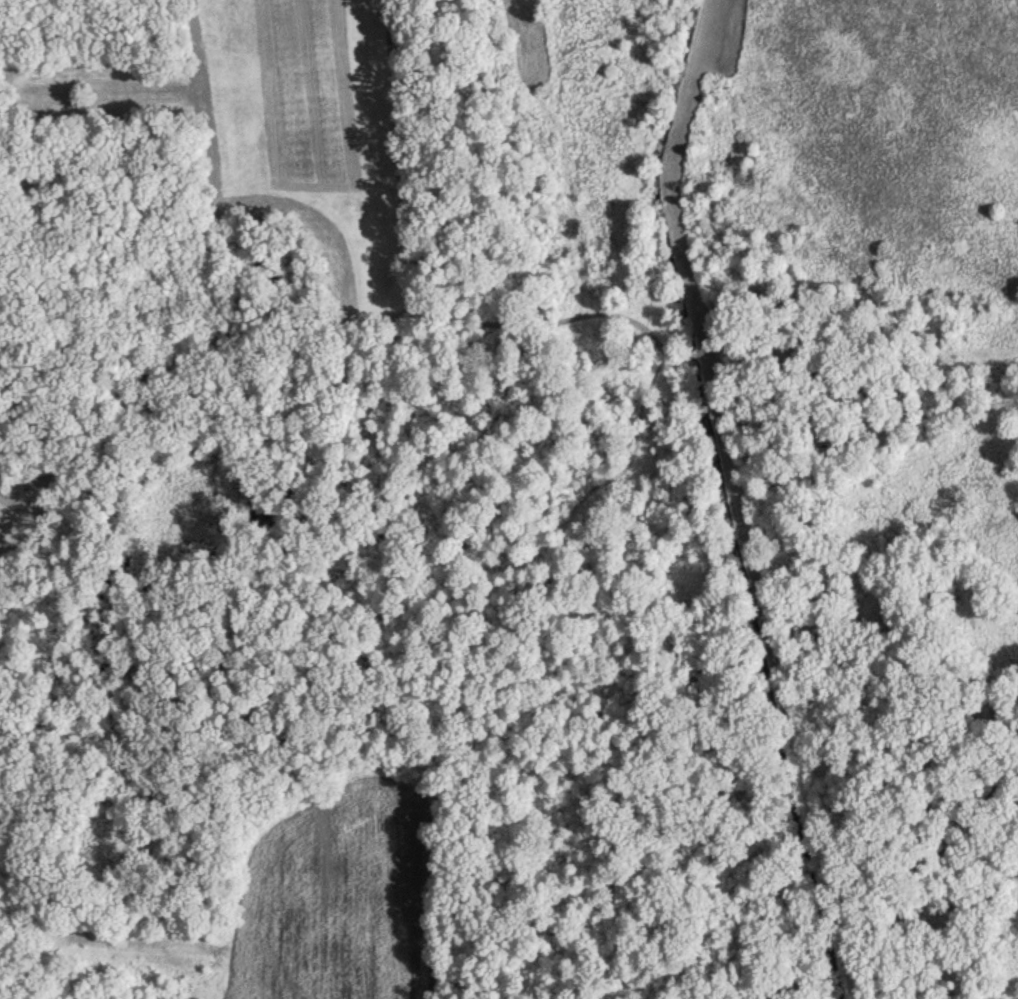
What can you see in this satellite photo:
road: (8, 525)

